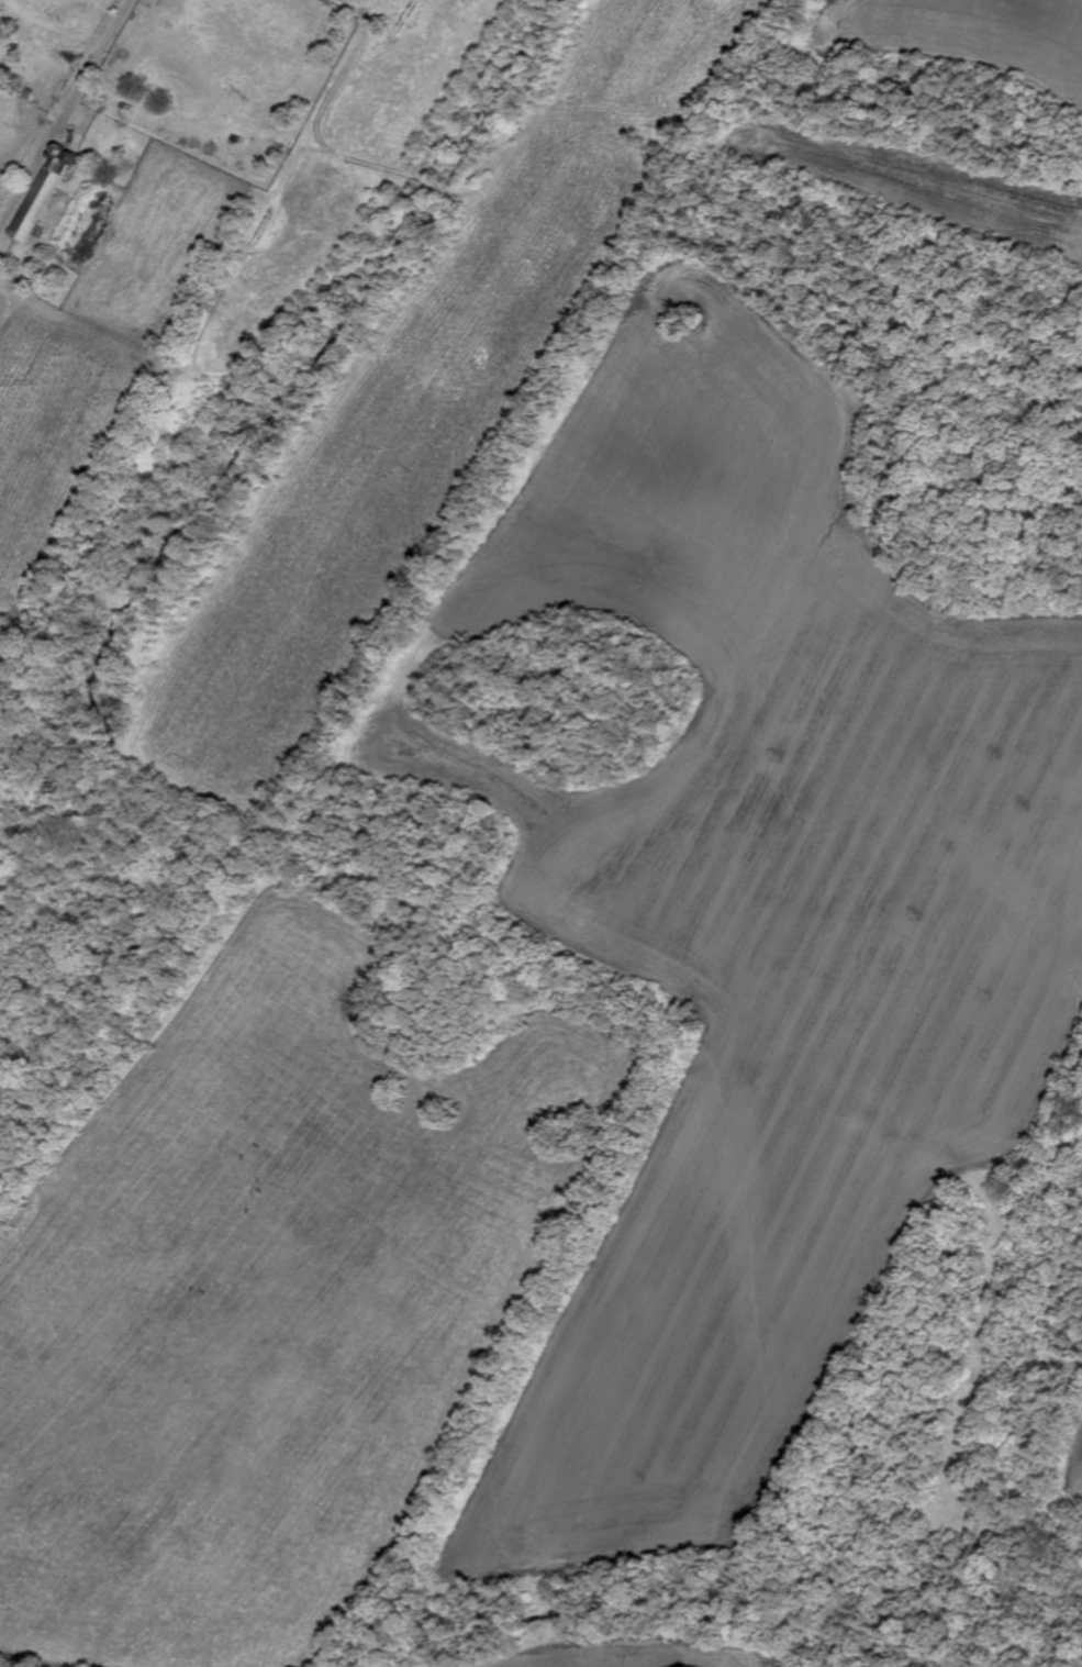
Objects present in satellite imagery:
building: (40, 71)
building: (124, 102)
road: (64, 113)
building: (43, 190)

